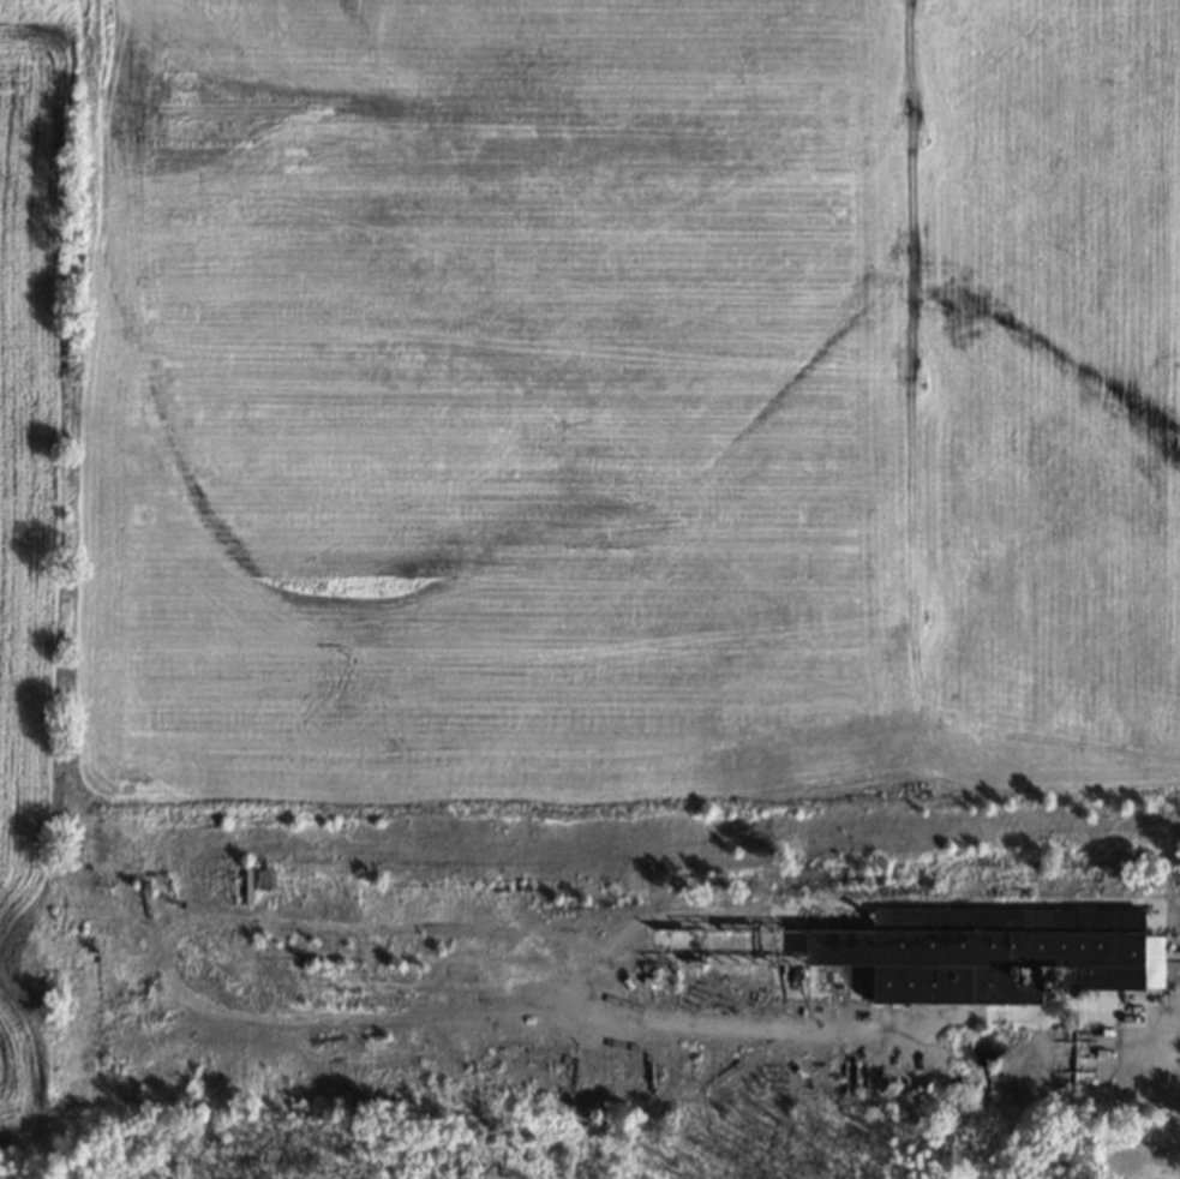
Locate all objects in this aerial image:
building: (988, 950)
road: (912, 1017)

